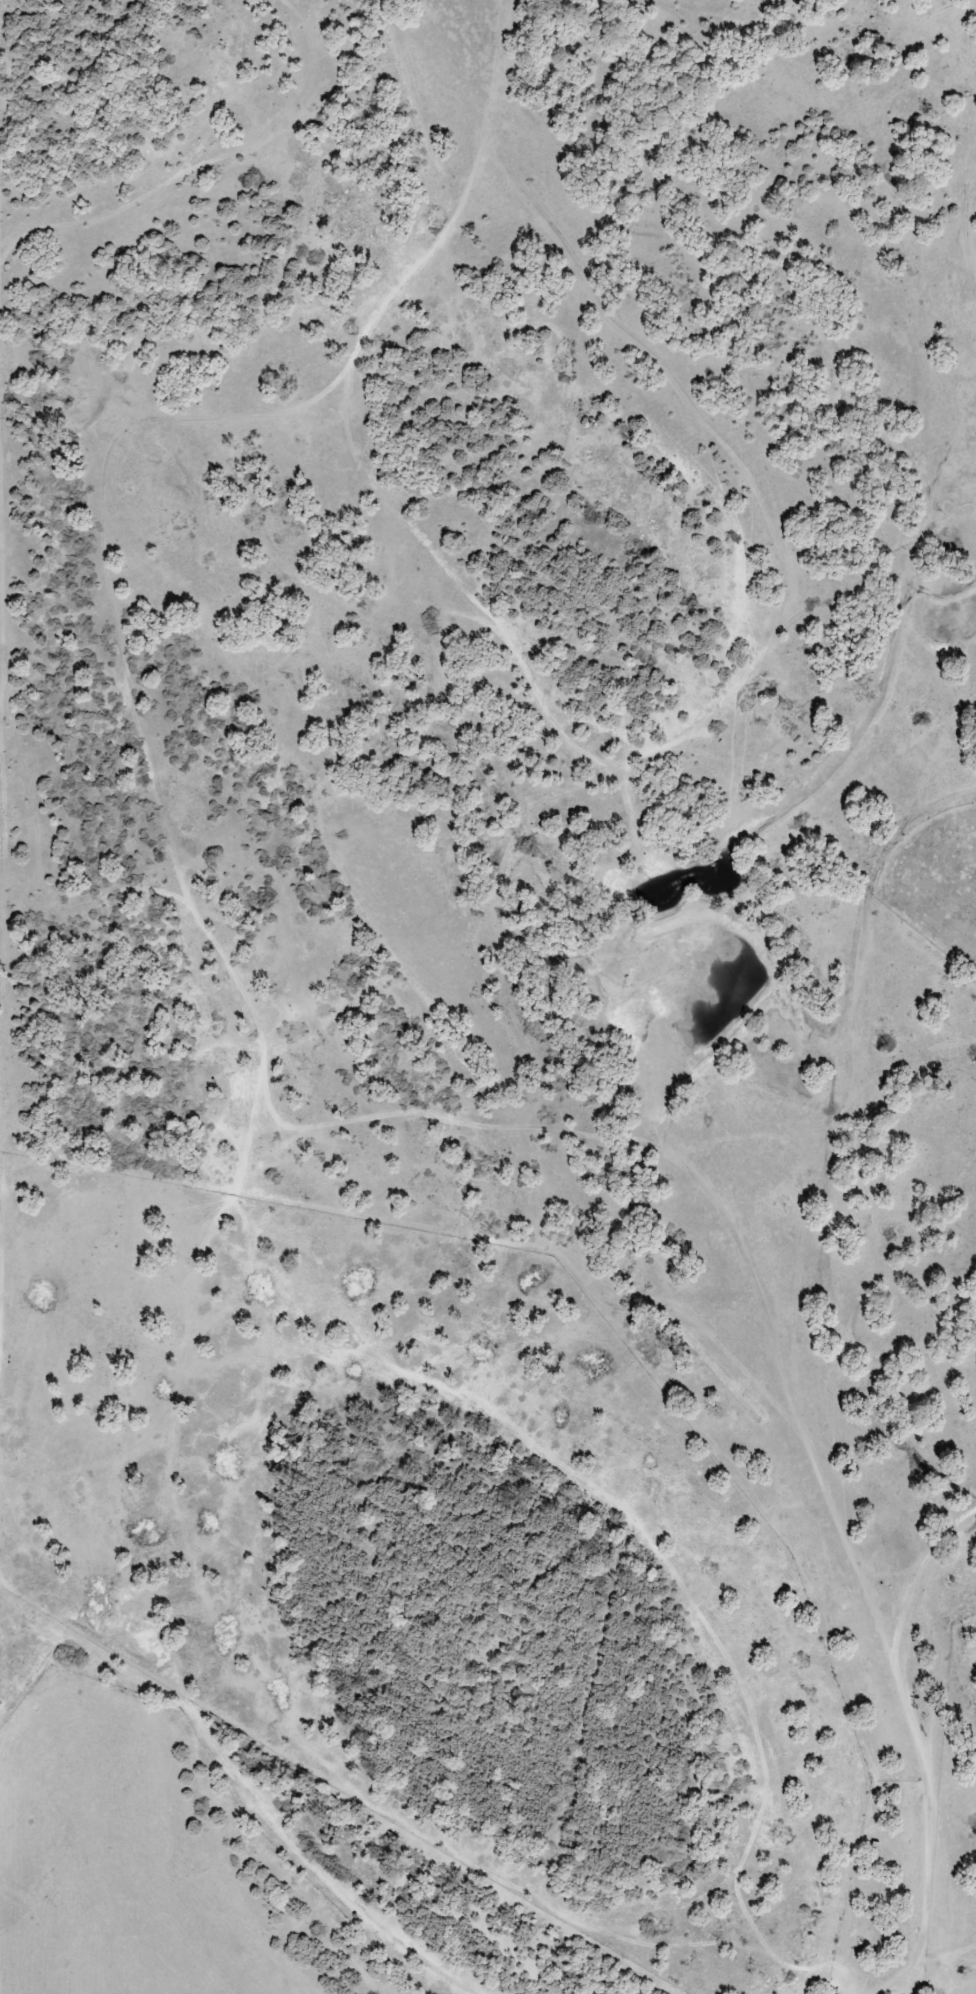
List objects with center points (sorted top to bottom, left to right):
road: (918, 1745)

